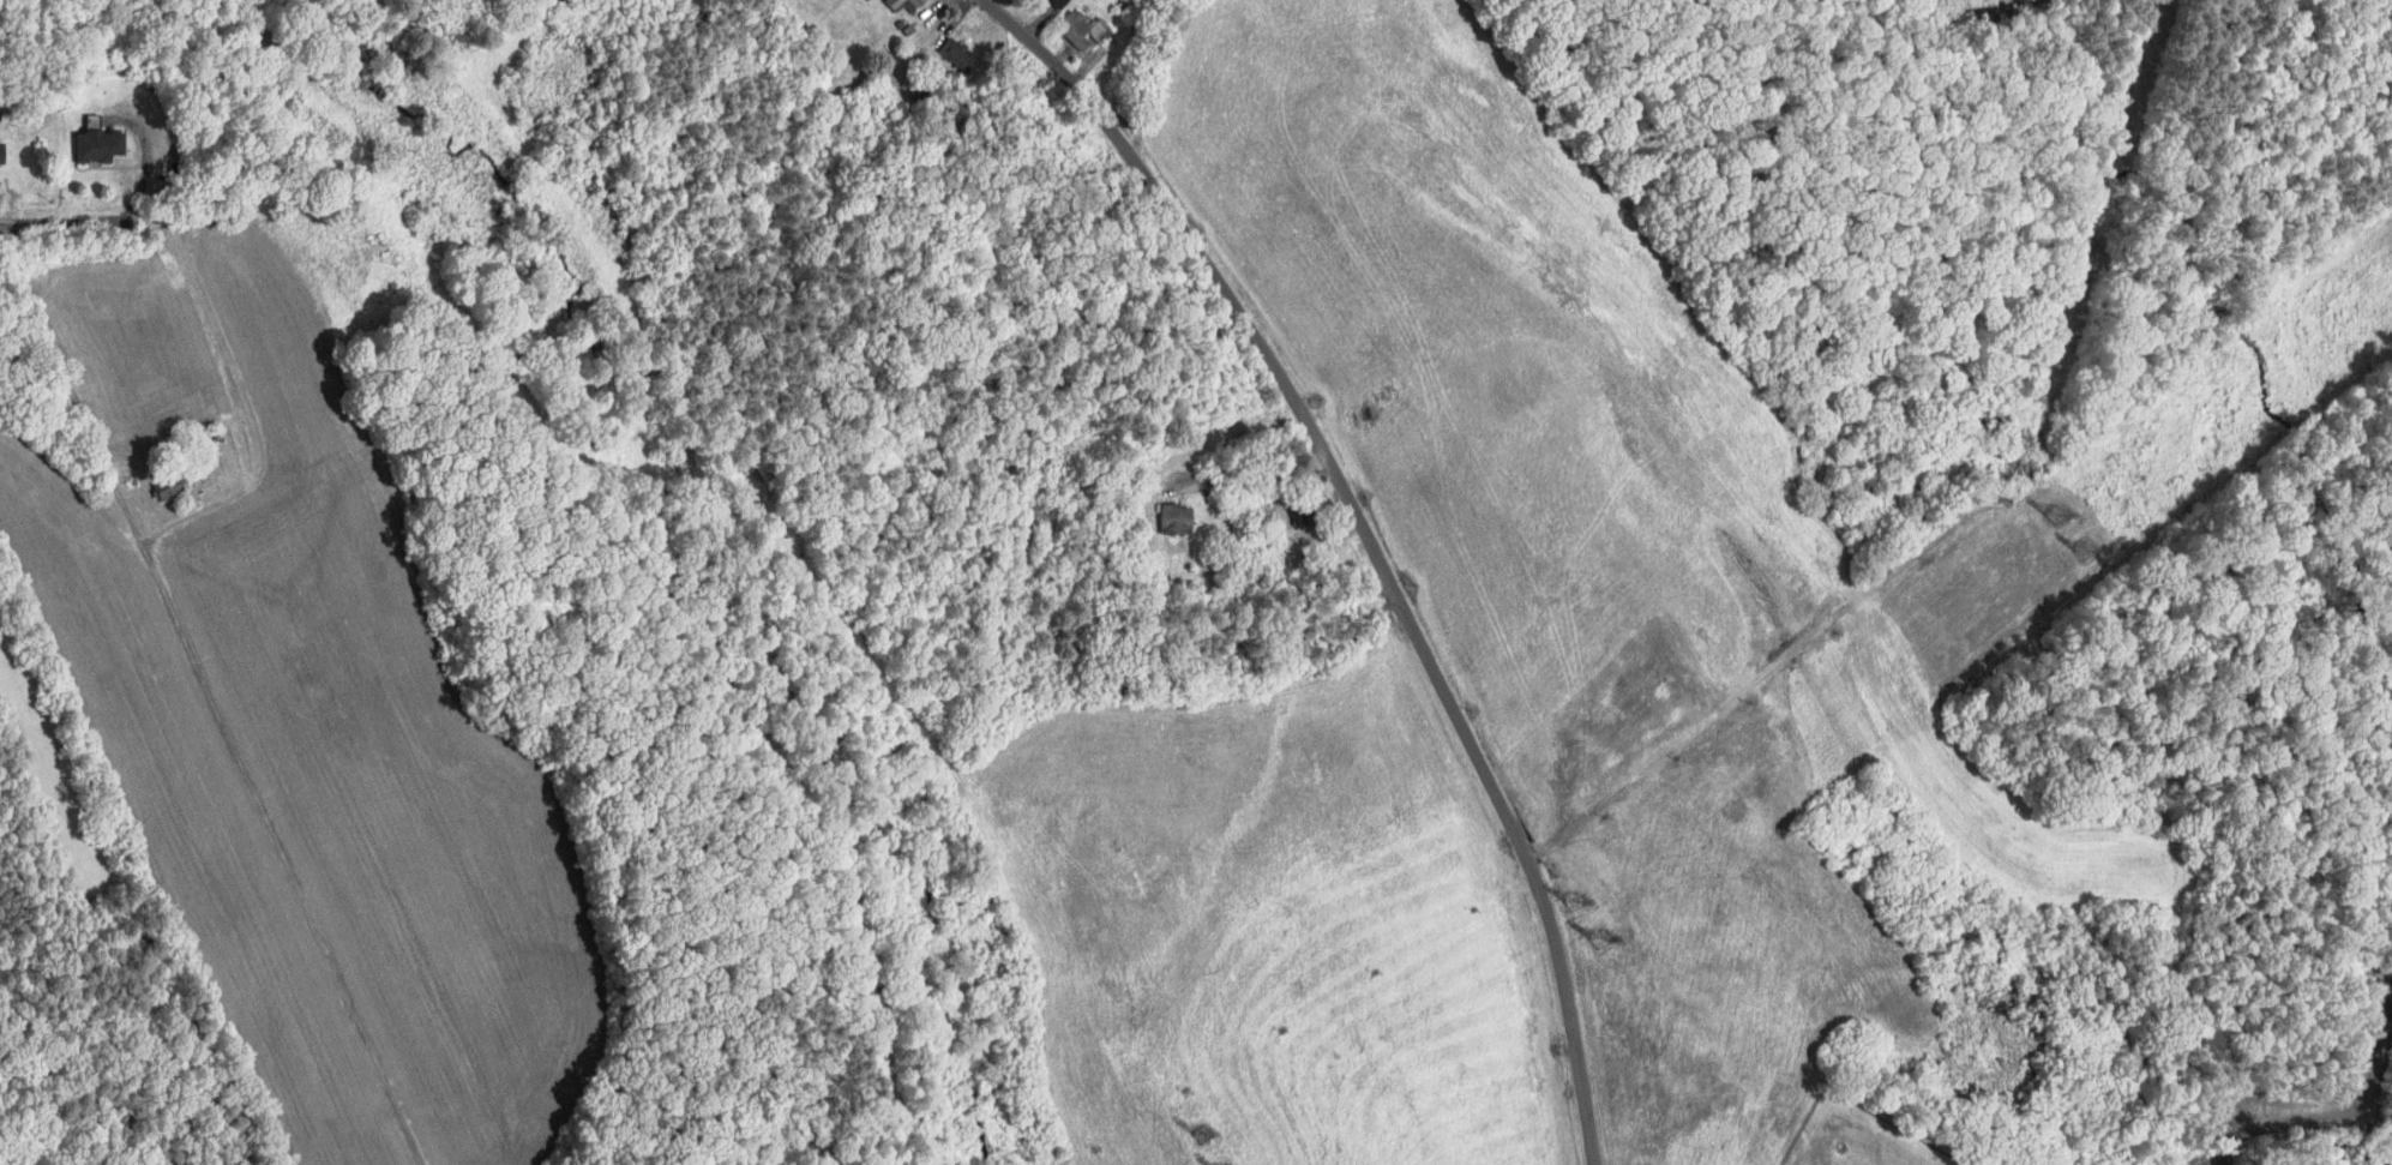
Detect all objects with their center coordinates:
building: (1051, 2)
building: (901, 5)
building: (1078, 28)
building: (951, 53)
building: (102, 144)
building: (4, 152)
road: (84, 226)
road: (233, 443)
road: (1252, 473)
building: (170, 486)
building: (1296, 514)
power tower: (2054, 516)
building: (1168, 520)
road: (1369, 540)
power tower: (2084, 553)
road: (196, 725)
power tower: (1571, 902)
power tower: (1598, 941)
power tower: (1201, 1134)

